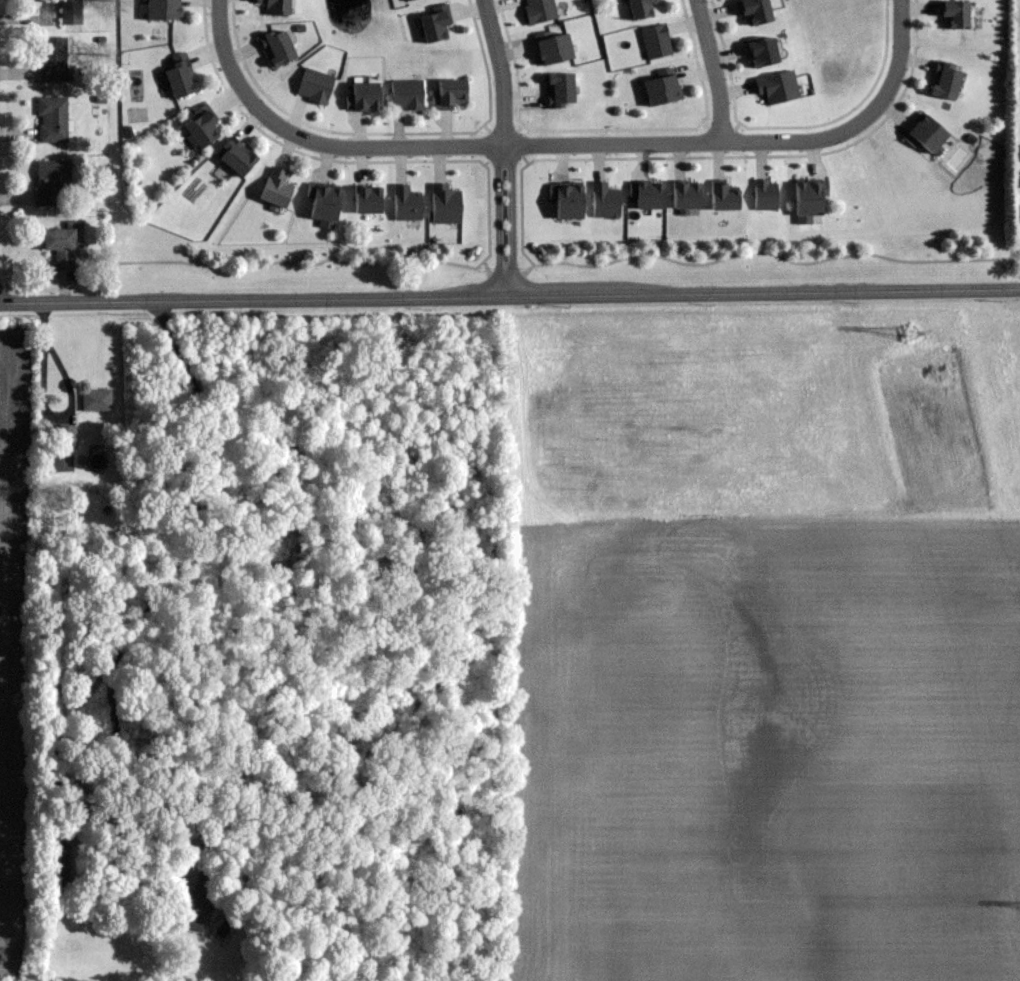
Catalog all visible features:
building: (404, 0)
building: (273, 6)
building: (166, 9)
building: (638, 9)
building: (70, 11)
building: (538, 11)
building: (953, 14)
road: (218, 16)
building: (654, 42)
building: (275, 48)
building: (551, 50)
road: (897, 50)
building: (54, 60)
road: (504, 71)
road: (711, 71)
building: (178, 76)
building: (943, 81)
building: (313, 86)
building: (660, 90)
building: (558, 91)
building: (447, 94)
building: (404, 95)
road: (875, 110)
building: (53, 119)
building: (200, 127)
building: (925, 135)
road: (517, 144)
building: (234, 157)
building: (52, 180)
building: (274, 189)
building: (765, 195)
building: (683, 196)
building: (807, 201)
building: (322, 206)
road: (511, 220)
road: (499, 221)
building: (65, 245)
road: (510, 297)
power tower: (907, 338)
building: (96, 399)
building: (65, 435)
road: (165, 582)
building: (55, 865)
building: (192, 901)

